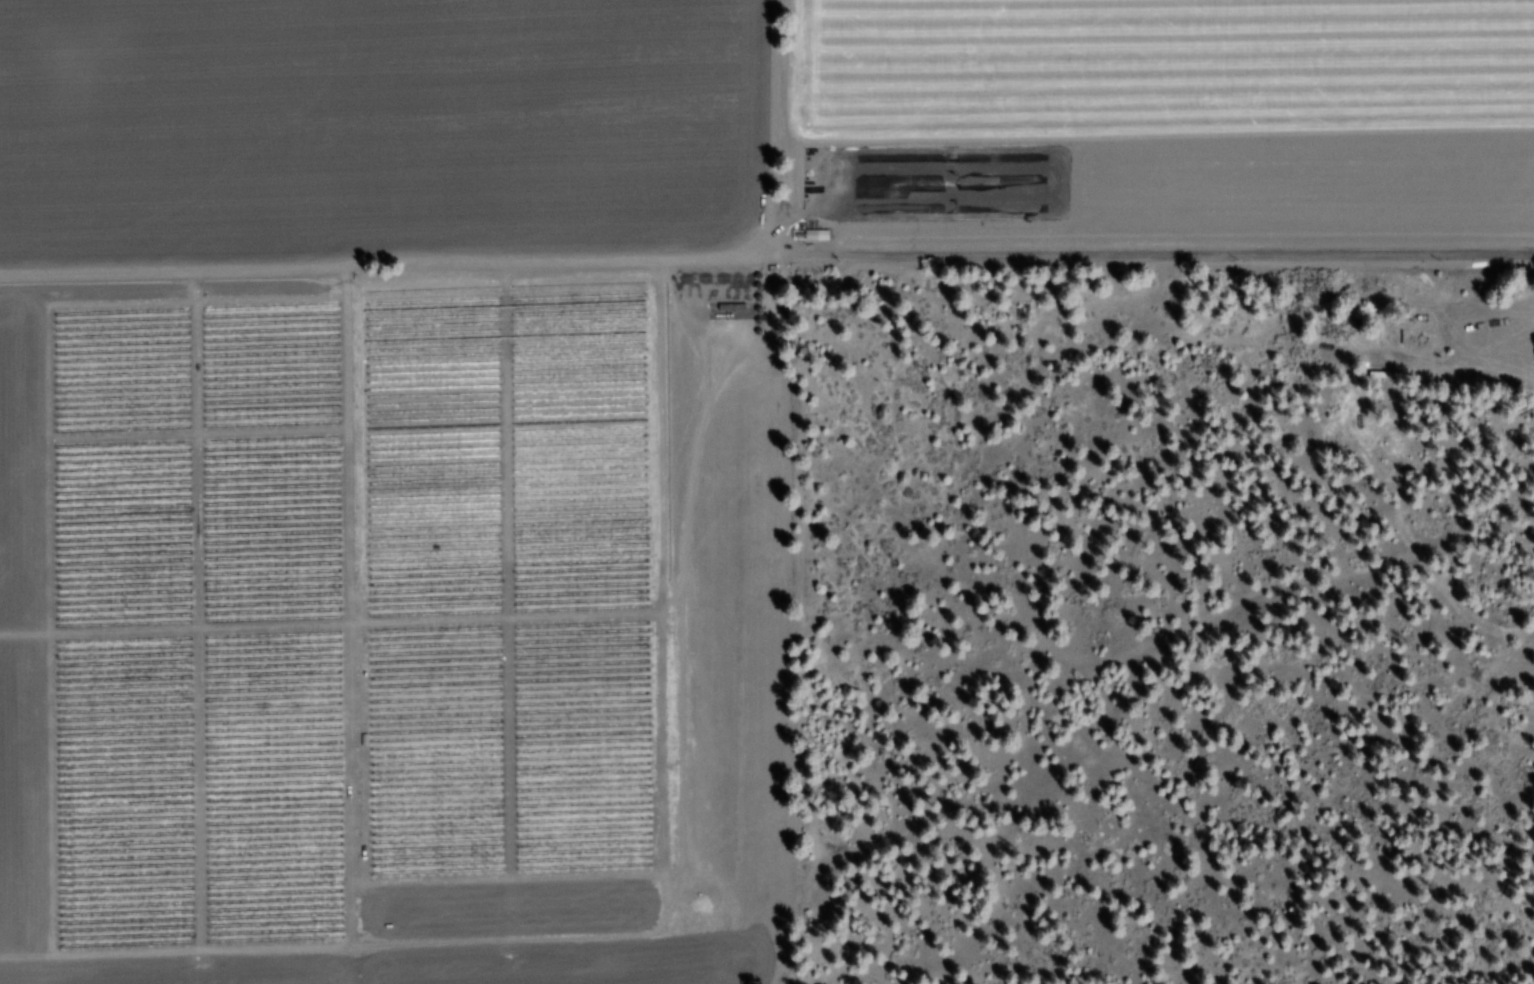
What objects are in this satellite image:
road: (1162, 258)
road: (796, 492)

